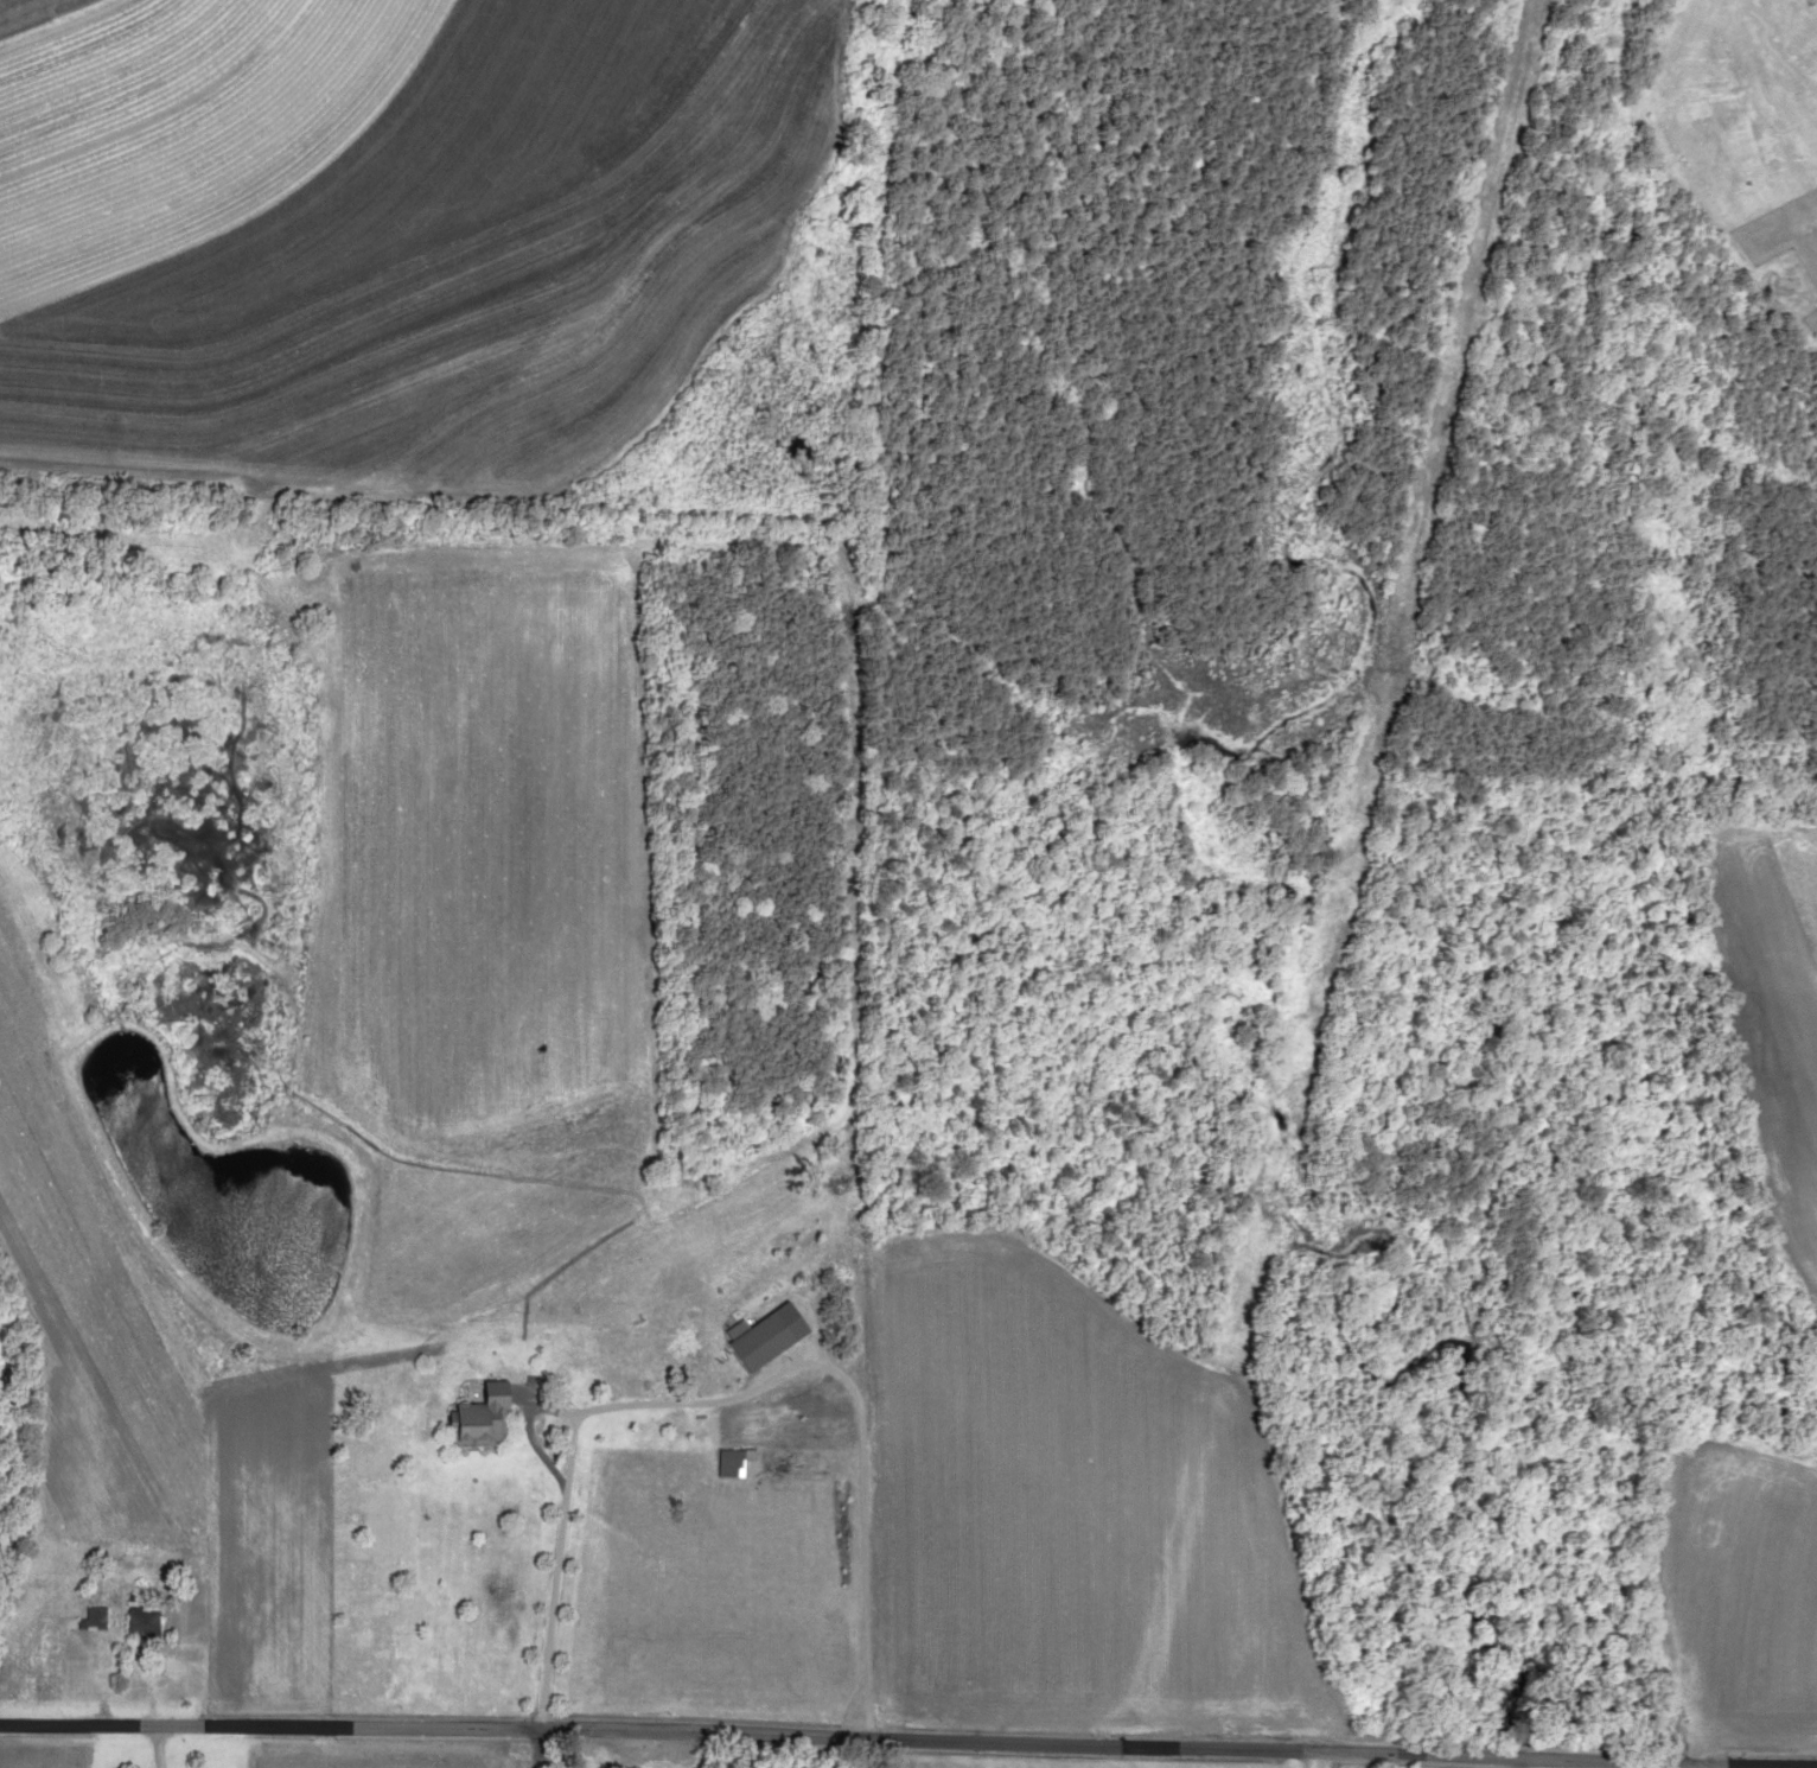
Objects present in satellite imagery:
building: (758, 1335)
building: (472, 1418)
building: (722, 1463)
building: (91, 1617)
building: (138, 1624)
road: (181, 1761)
building: (610, 1766)

